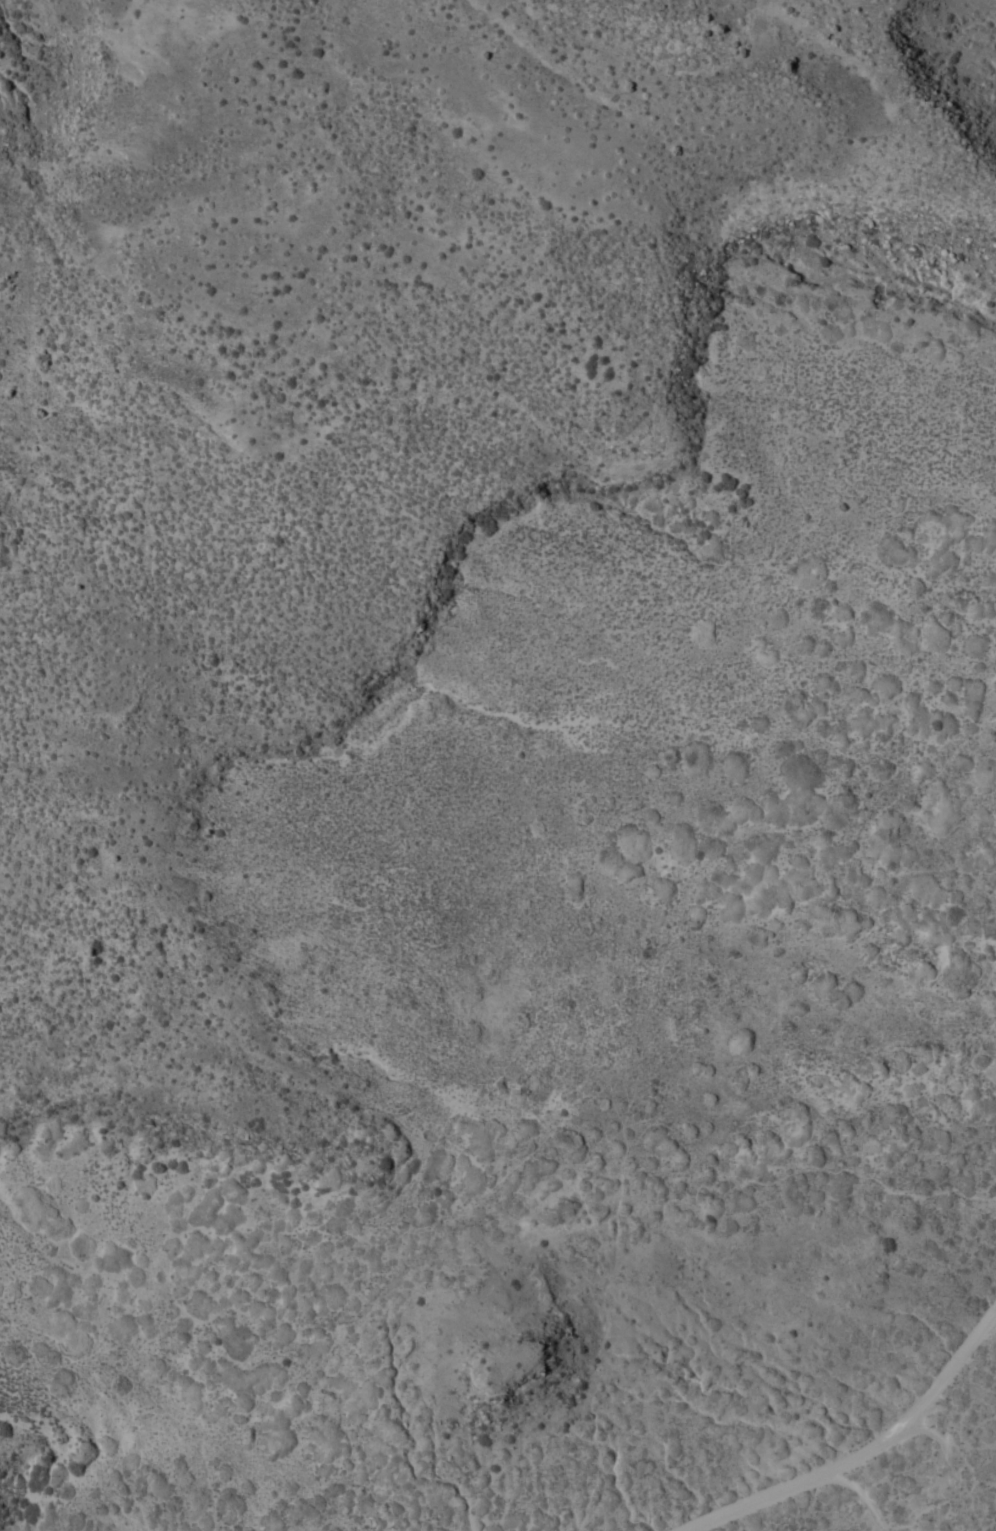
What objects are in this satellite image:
road: (862, 1447)

